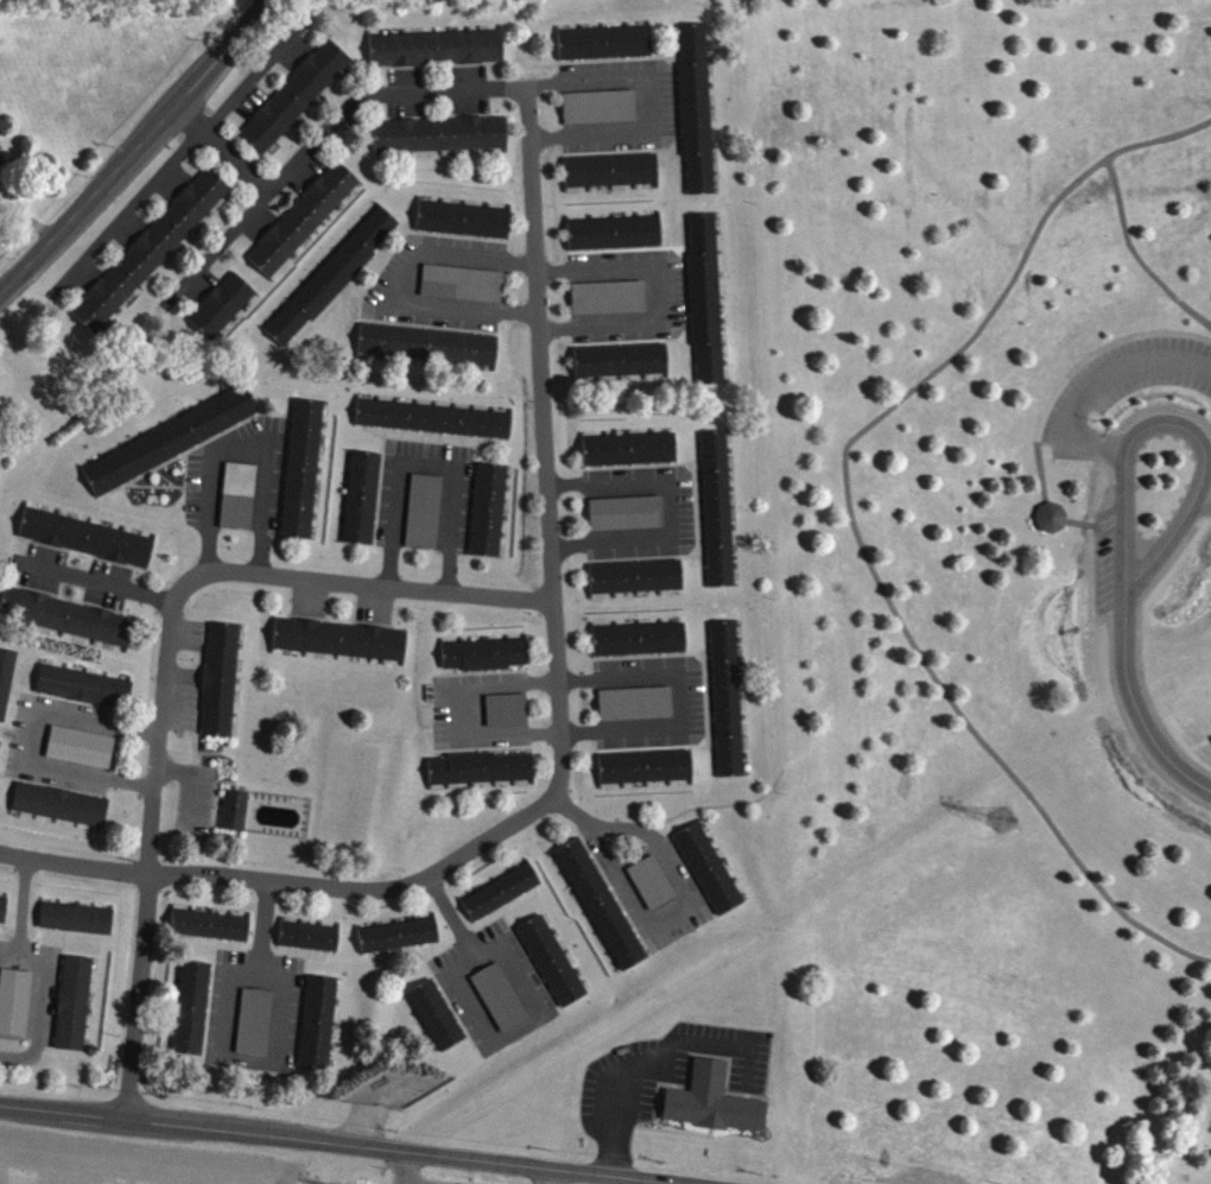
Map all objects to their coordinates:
building: (605, 51)
building: (438, 56)
building: (296, 105)
road: (659, 109)
building: (601, 115)
building: (697, 116)
road: (317, 138)
building: (442, 143)
road: (135, 147)
road: (223, 150)
building: (2, 167)
building: (613, 178)
building: (304, 227)
building: (465, 228)
building: (616, 241)
road: (1136, 255)
building: (152, 258)
building: (334, 285)
road: (413, 290)
building: (464, 291)
building: (610, 305)
road: (657, 305)
building: (706, 305)
building: (223, 314)
road: (540, 348)
road: (1099, 348)
building: (430, 353)
building: (621, 369)
parking lot: (1122, 388)
building: (435, 426)
road: (1177, 429)
road: (237, 442)
building: (172, 448)
building: (630, 457)
road: (430, 468)
road: (1039, 470)
building: (304, 476)
building: (240, 504)
building: (363, 505)
road: (668, 507)
building: (1047, 515)
building: (718, 517)
building: (490, 518)
building: (426, 519)
building: (628, 521)
road: (1079, 521)
road: (851, 523)
building: (88, 545)
park: (987, 575)
road: (101, 580)
building: (638, 584)
building: (68, 625)
building: (342, 647)
building: (640, 647)
building: (487, 663)
building: (7, 688)
building: (222, 688)
building: (85, 695)
road: (562, 703)
building: (729, 707)
road: (1135, 707)
road: (689, 708)
road: (465, 710)
building: (638, 711)
building: (508, 718)
road: (32, 739)
building: (0, 748)
building: (82, 755)
road: (793, 761)
building: (647, 774)
building: (483, 775)
building: (62, 812)
building: (236, 818)
power tower: (998, 823)
road: (74, 869)
building: (710, 876)
building: (653, 891)
building: (502, 900)
road: (20, 905)
building: (602, 912)
road: (657, 913)
building: (4, 917)
building: (77, 926)
building: (211, 933)
building: (400, 943)
building: (310, 944)
road: (7, 950)
building: (552, 969)
road: (534, 1005)
building: (501, 1006)
road: (37, 1008)
building: (15, 1009)
building: (75, 1012)
building: (192, 1017)
building: (437, 1022)
building: (256, 1030)
building: (319, 1031)
road: (222, 1037)
building: (714, 1109)
road: (343, 1142)
road: (400, 1166)
park: (381, 1173)
road: (553, 1177)
parking lot: (418, 1180)

